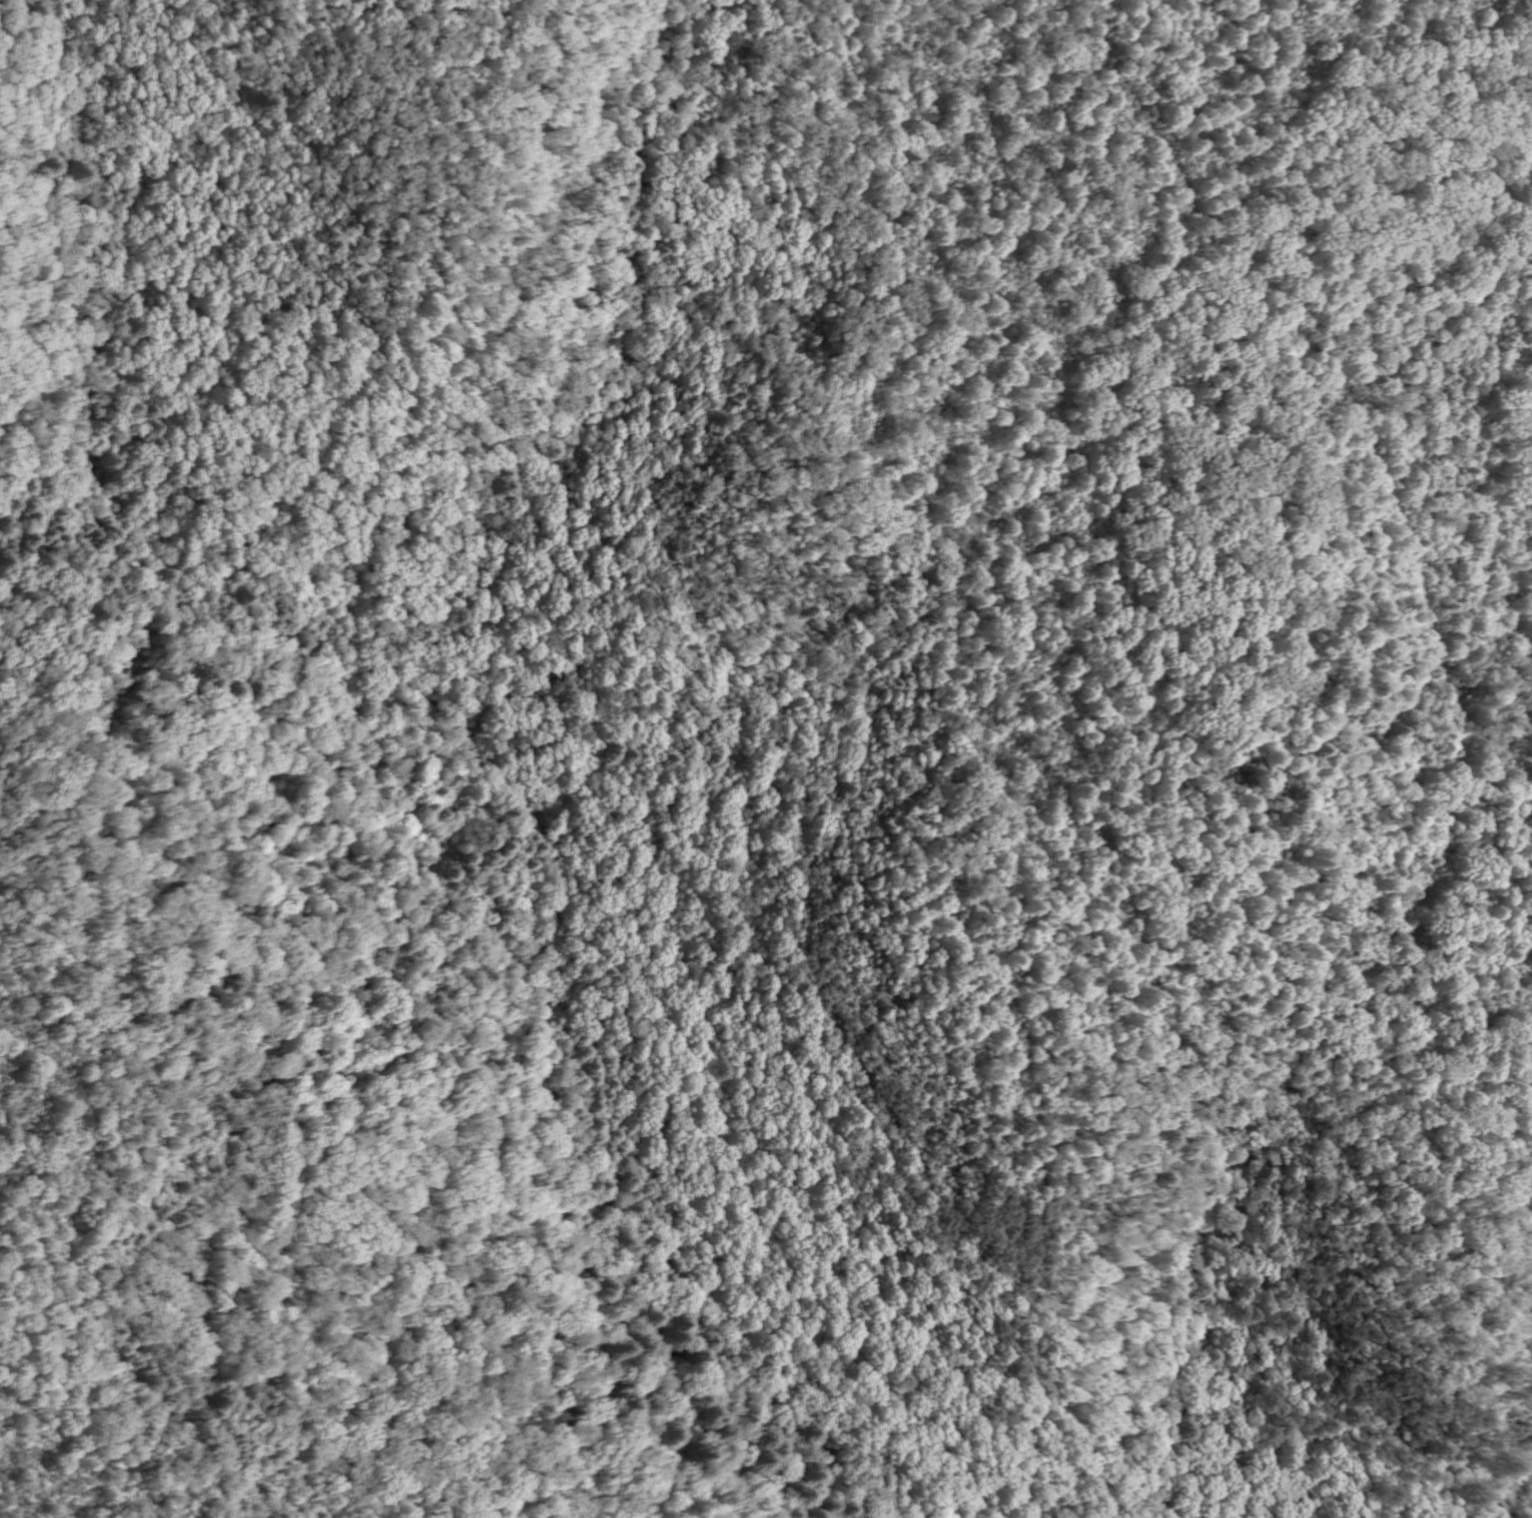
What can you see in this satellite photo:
road: (1232, 281)
road: (1453, 680)

